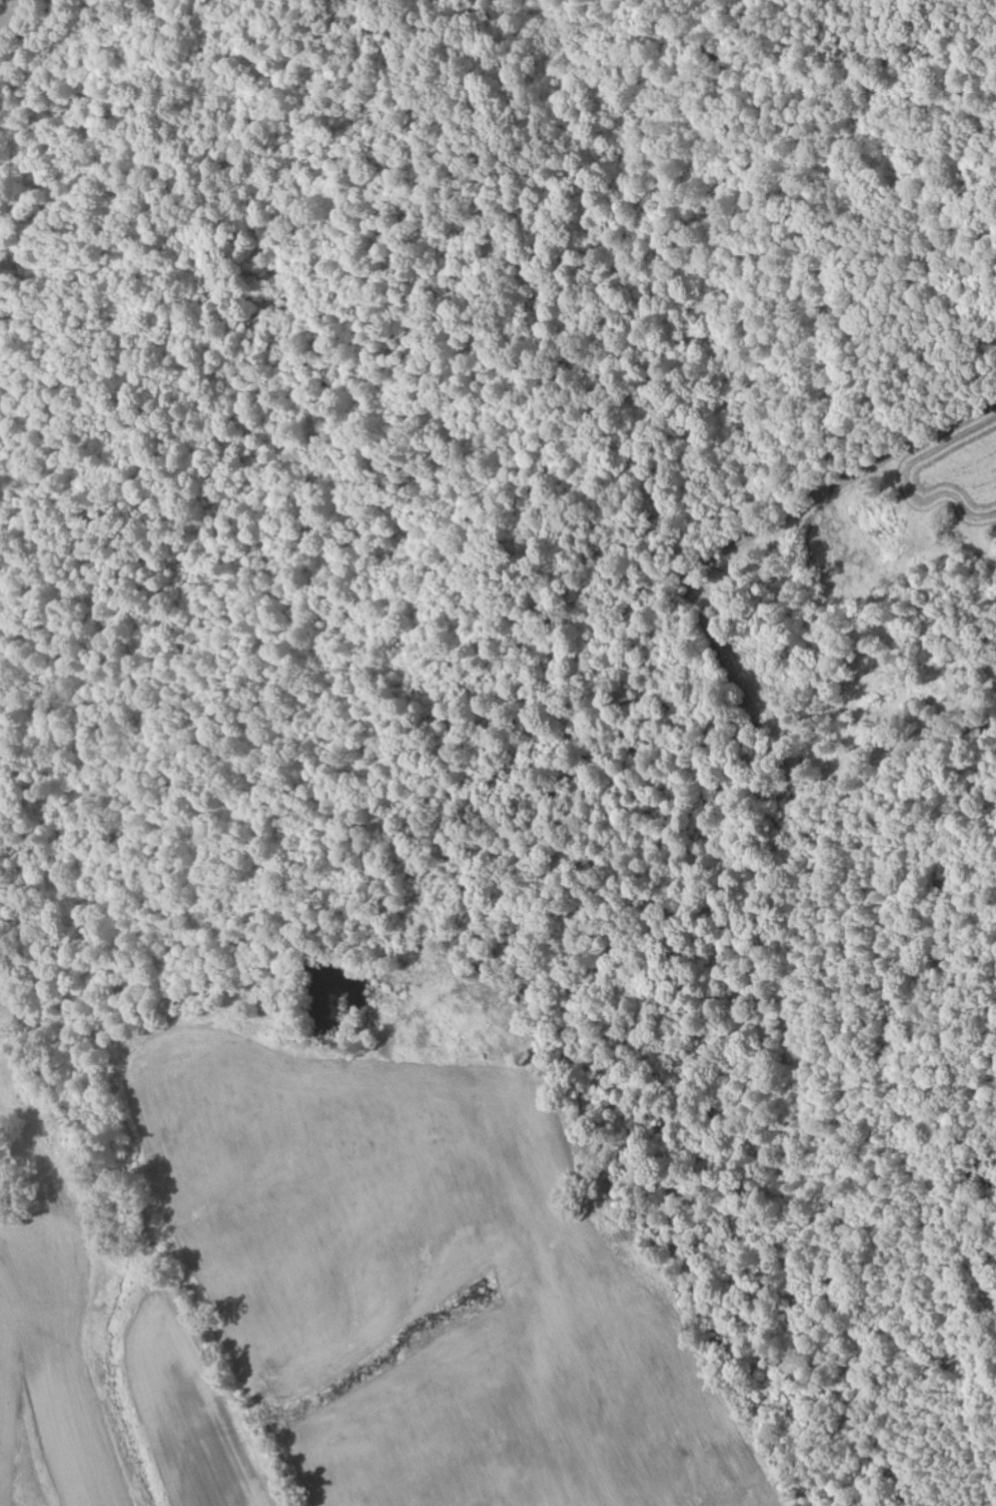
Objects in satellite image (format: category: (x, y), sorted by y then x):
road: (102, 1402)

